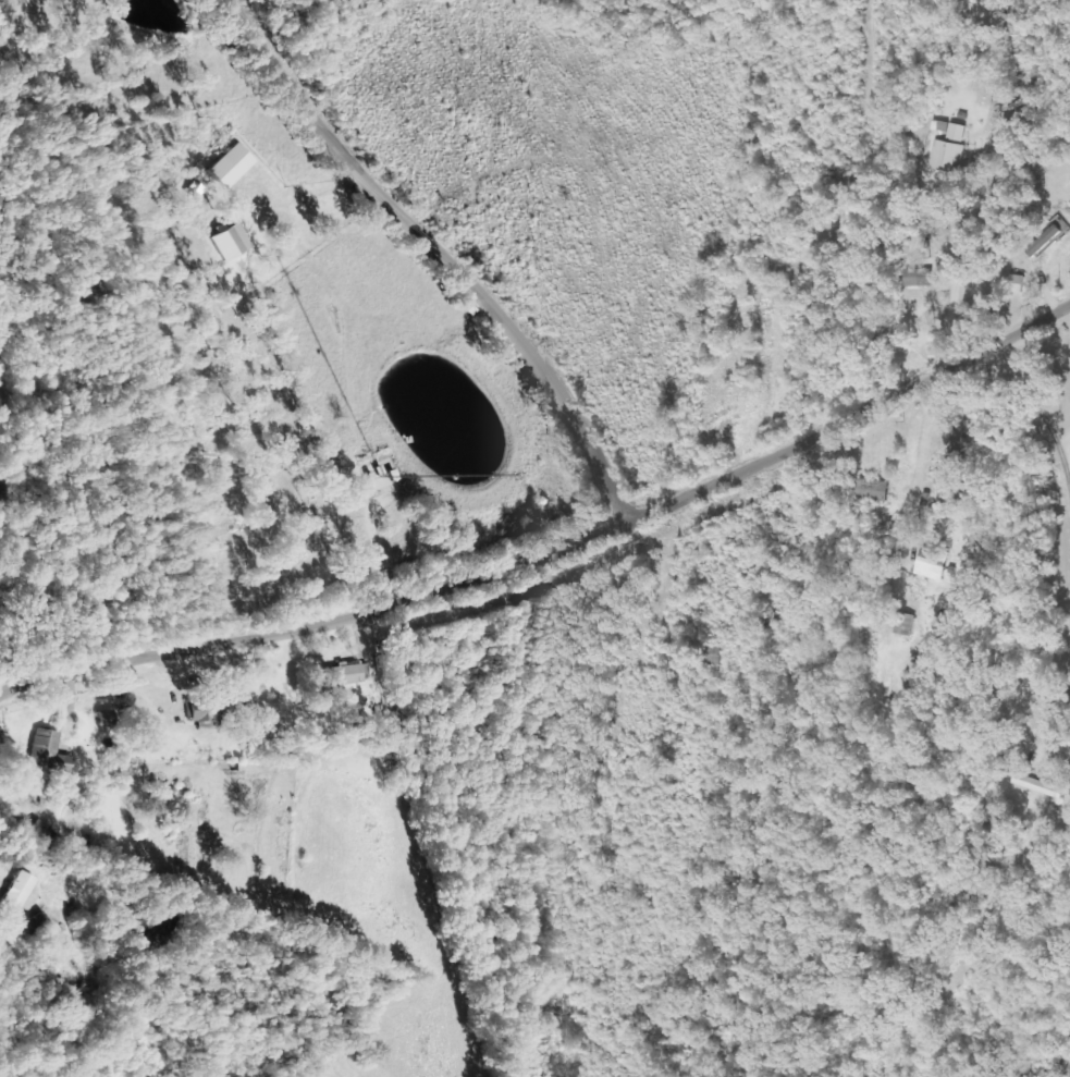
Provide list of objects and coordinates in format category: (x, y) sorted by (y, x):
building: (959, 134)
building: (949, 158)
building: (232, 166)
building: (1048, 237)
building: (233, 243)
road: (438, 256)
building: (922, 278)
road: (850, 431)
building: (959, 444)
building: (875, 491)
building: (935, 566)
road: (318, 624)
building: (369, 671)
building: (349, 674)
road: (11, 680)
building: (207, 710)
building: (109, 718)
building: (50, 751)
building: (1041, 786)
building: (23, 893)
building: (39, 926)

